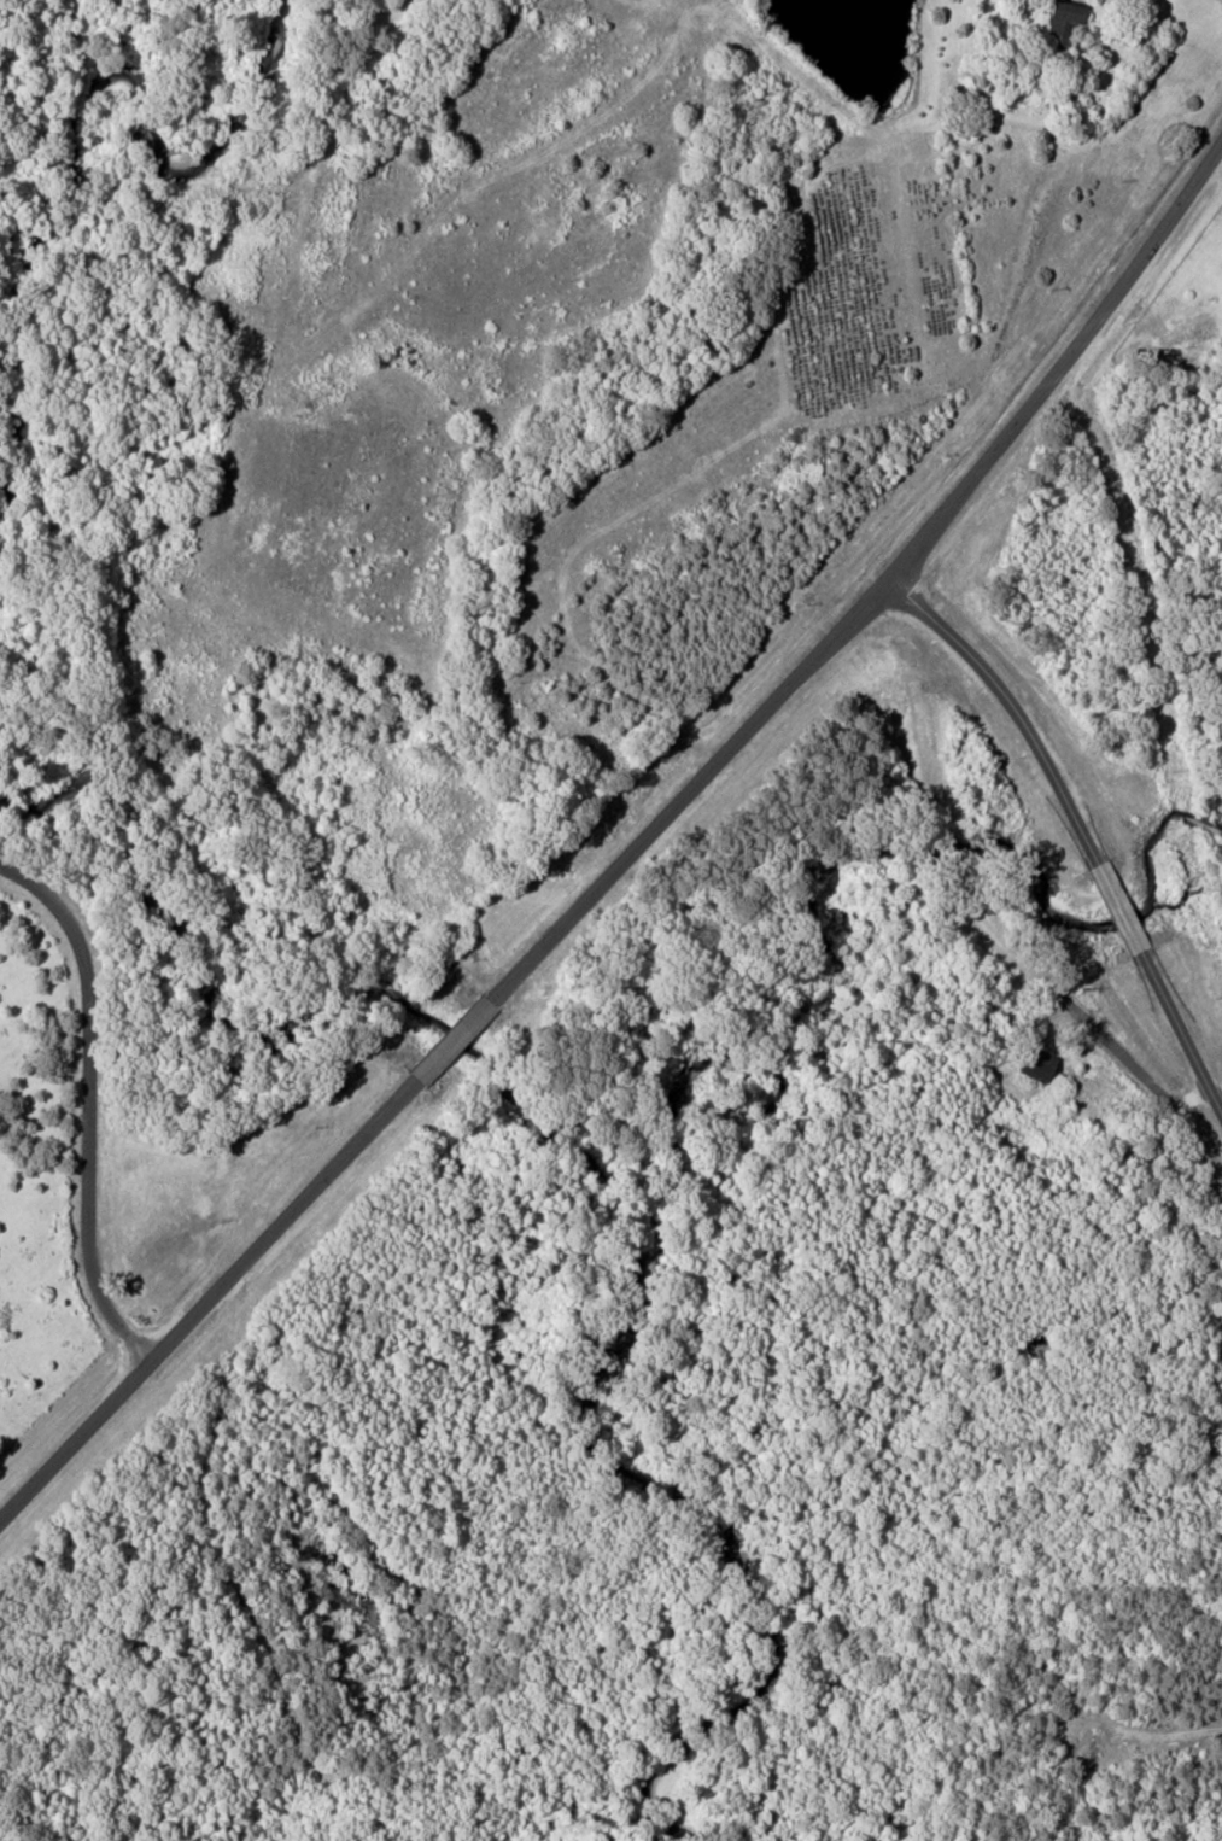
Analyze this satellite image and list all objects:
building: (1063, 11)
road: (877, 598)
road: (1013, 708)
road: (1118, 907)
road: (1181, 1030)
road: (454, 1044)
building: (1033, 1062)
road: (89, 1105)
road: (209, 1303)

